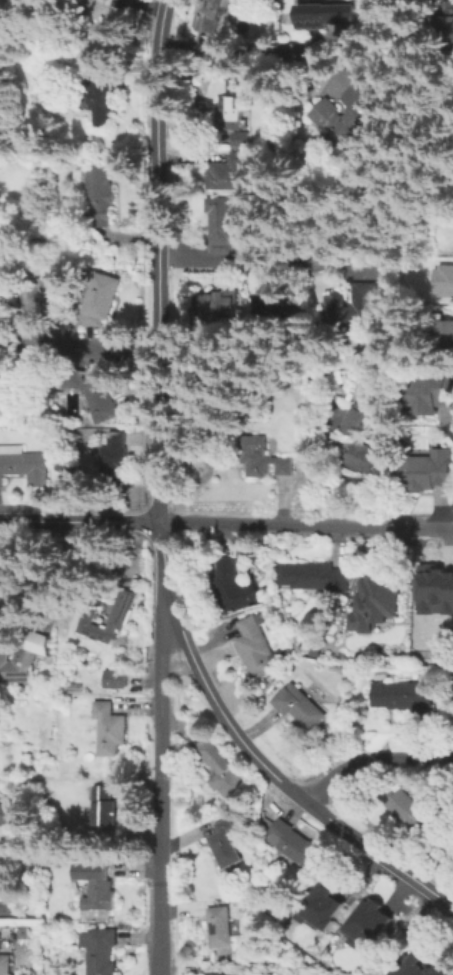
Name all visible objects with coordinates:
building: (125, 5)
building: (214, 13)
building: (331, 14)
building: (449, 21)
road: (262, 51)
building: (103, 95)
building: (231, 108)
building: (353, 110)
building: (244, 140)
building: (229, 173)
building: (105, 198)
building: (223, 226)
road: (156, 260)
road: (285, 263)
building: (445, 282)
building: (104, 298)
building: (369, 303)
building: (219, 308)
building: (276, 308)
building: (90, 320)
building: (445, 338)
road: (97, 348)
building: (78, 380)
building: (103, 395)
building: (431, 396)
building: (358, 422)
road: (449, 430)
building: (116, 459)
building: (264, 459)
building: (370, 465)
building: (23, 466)
building: (428, 473)
road: (451, 519)
road: (78, 521)
road: (305, 525)
building: (11, 577)
building: (315, 578)
building: (234, 589)
building: (435, 591)
building: (373, 600)
building: (108, 619)
building: (256, 648)
building: (23, 660)
building: (117, 682)
building: (405, 699)
building: (302, 707)
building: (111, 731)
road: (250, 753)
road: (370, 760)
building: (221, 771)
road: (161, 793)
building: (106, 807)
building: (6, 815)
building: (412, 815)
building: (297, 845)
building: (225, 848)
building: (100, 888)
building: (6, 906)
building: (320, 906)
building: (367, 923)
building: (222, 926)
building: (104, 952)
building: (5, 965)
building: (422, 968)
building: (226, 974)

